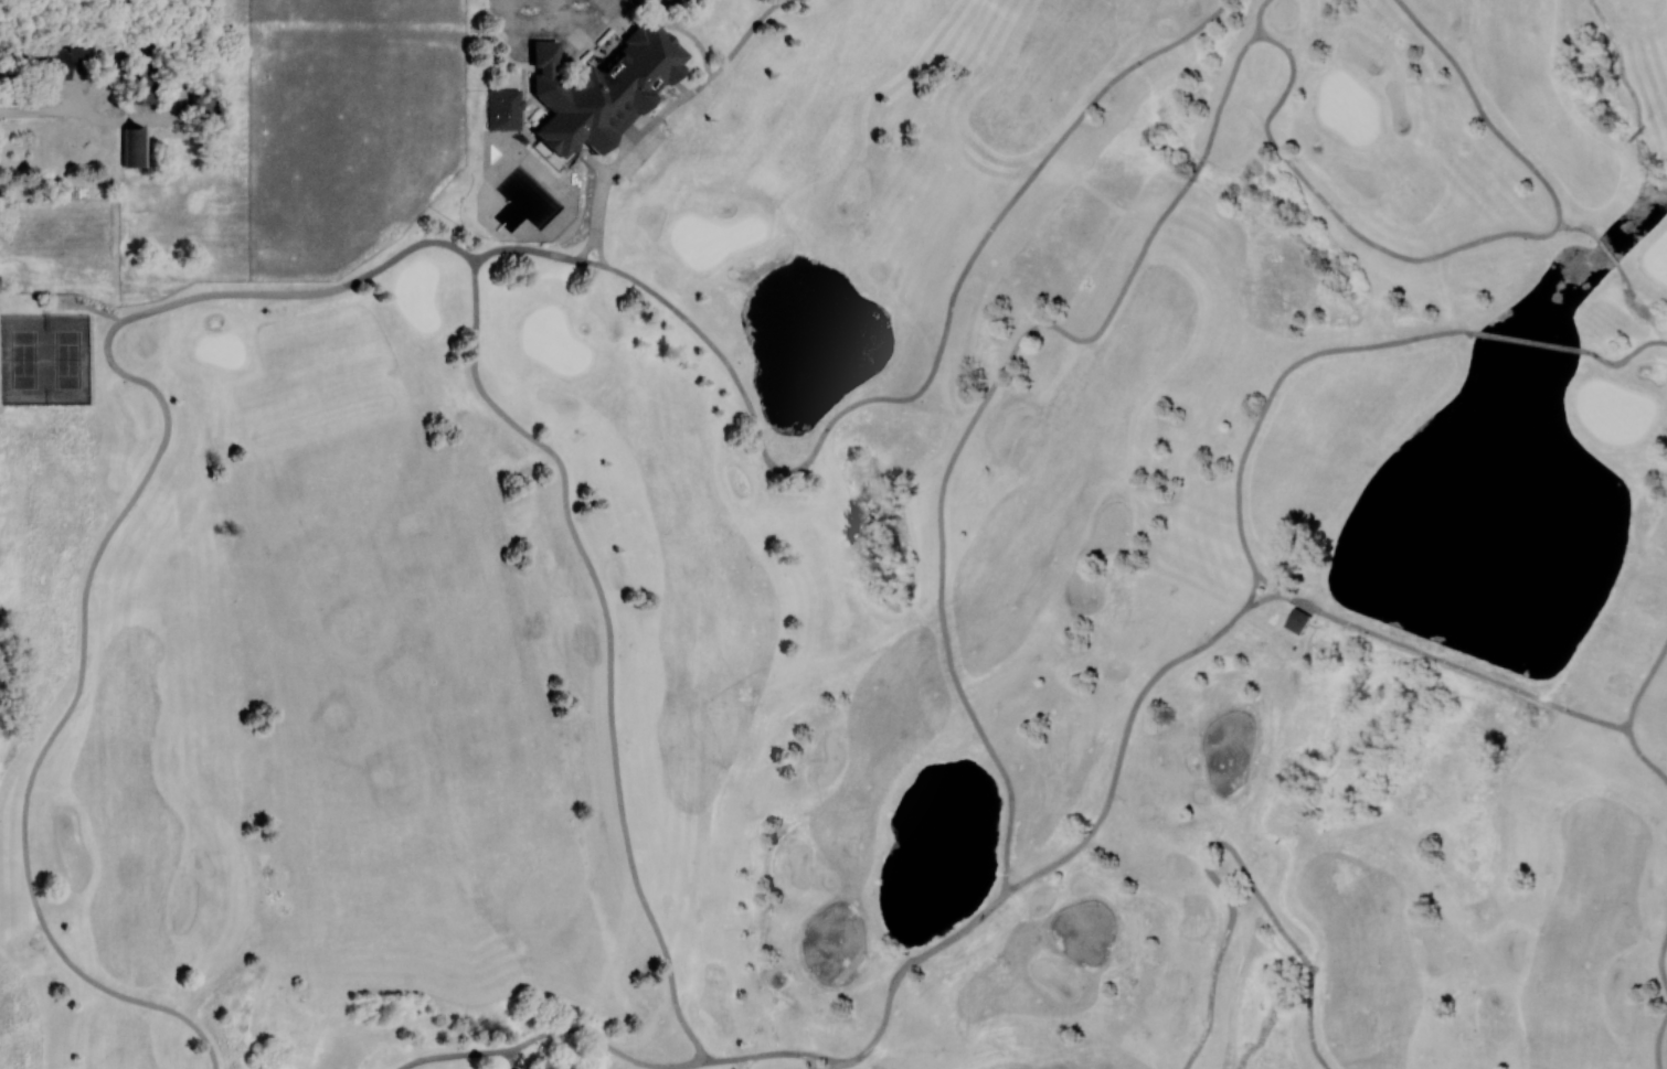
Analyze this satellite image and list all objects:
parking lot: (672, 2)
parking lot: (527, 10)
road: (1260, 17)
road: (562, 22)
road: (691, 32)
road: (745, 38)
road: (105, 43)
building: (548, 56)
building: (54, 60)
road: (99, 81)
building: (141, 82)
road: (78, 86)
road: (1225, 92)
building: (610, 93)
building: (203, 99)
road: (177, 100)
building: (506, 109)
road: (39, 110)
road: (1637, 129)
road: (640, 136)
building: (134, 146)
road: (1197, 169)
building: (566, 185)
road: (1574, 226)
road: (591, 238)
road: (601, 239)
road: (1466, 243)
road: (524, 248)
road: (1606, 250)
road: (591, 261)
road: (1529, 341)
road: (1011, 353)
road: (934, 367)
road: (1278, 380)
park: (902, 382)
road: (609, 620)
building: (1297, 620)

